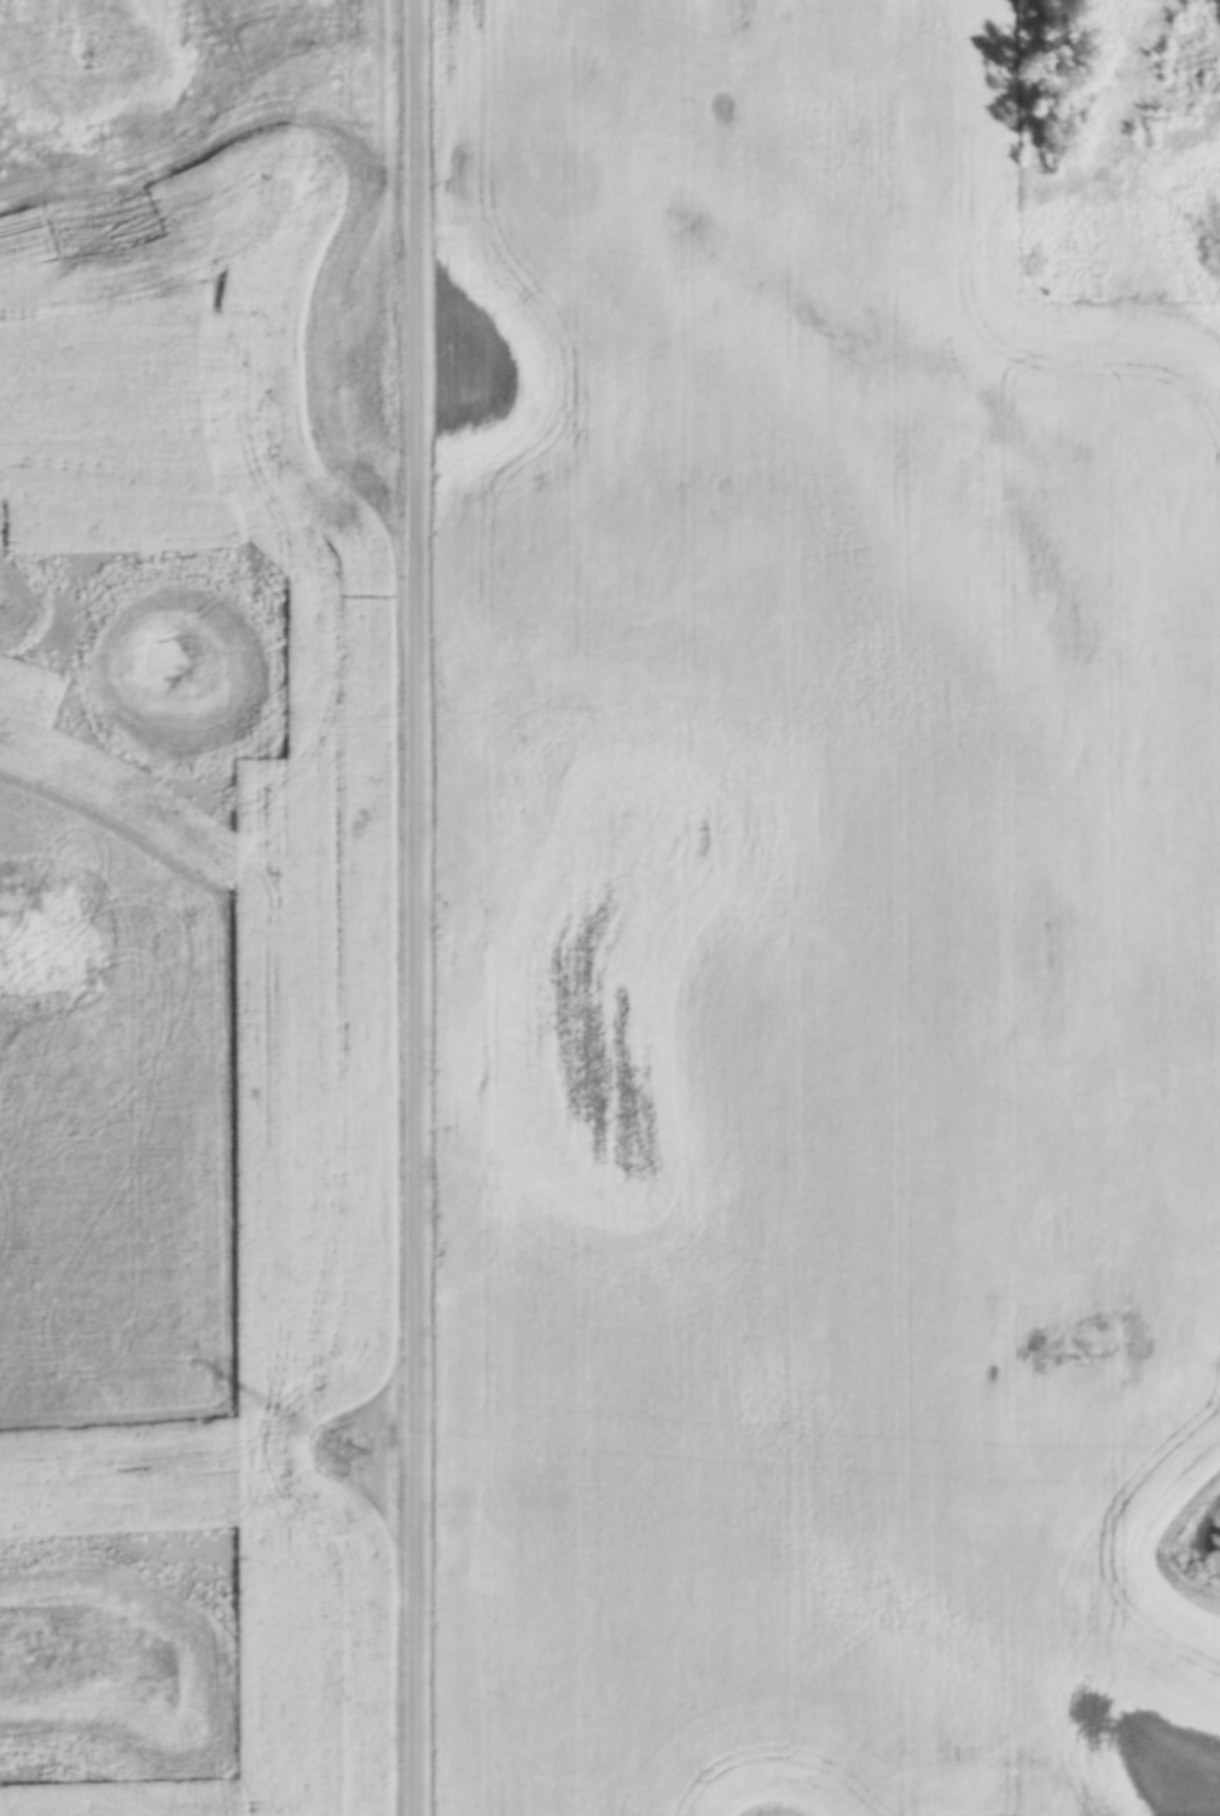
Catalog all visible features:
road: (417, 907)
power tower: (330, 1450)

